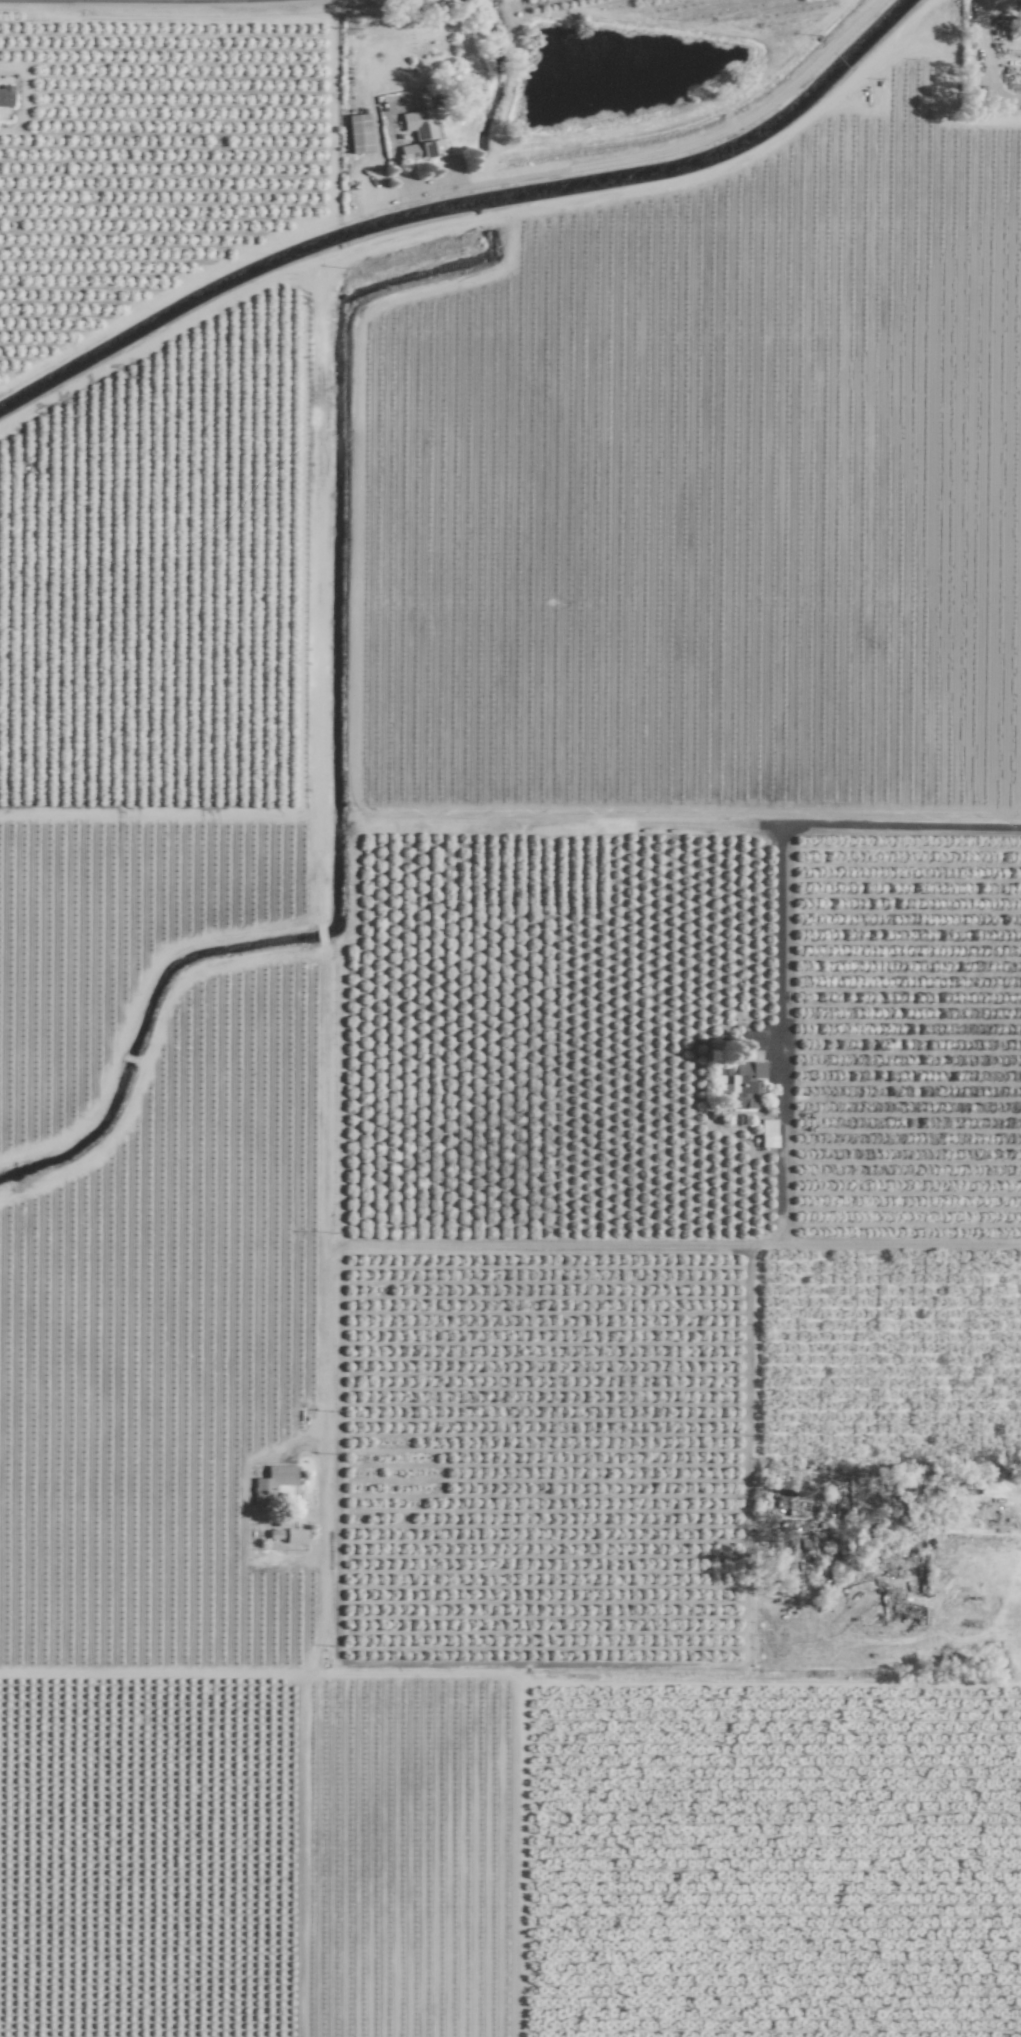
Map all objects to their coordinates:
building: (6, 97)
building: (359, 134)
building: (421, 135)
road: (693, 829)
road: (781, 1036)
building: (746, 1084)
building: (768, 1134)
road: (901, 1244)
road: (552, 1245)
building: (274, 1484)
road: (328, 1649)
road: (252, 1671)
road: (763, 1676)

